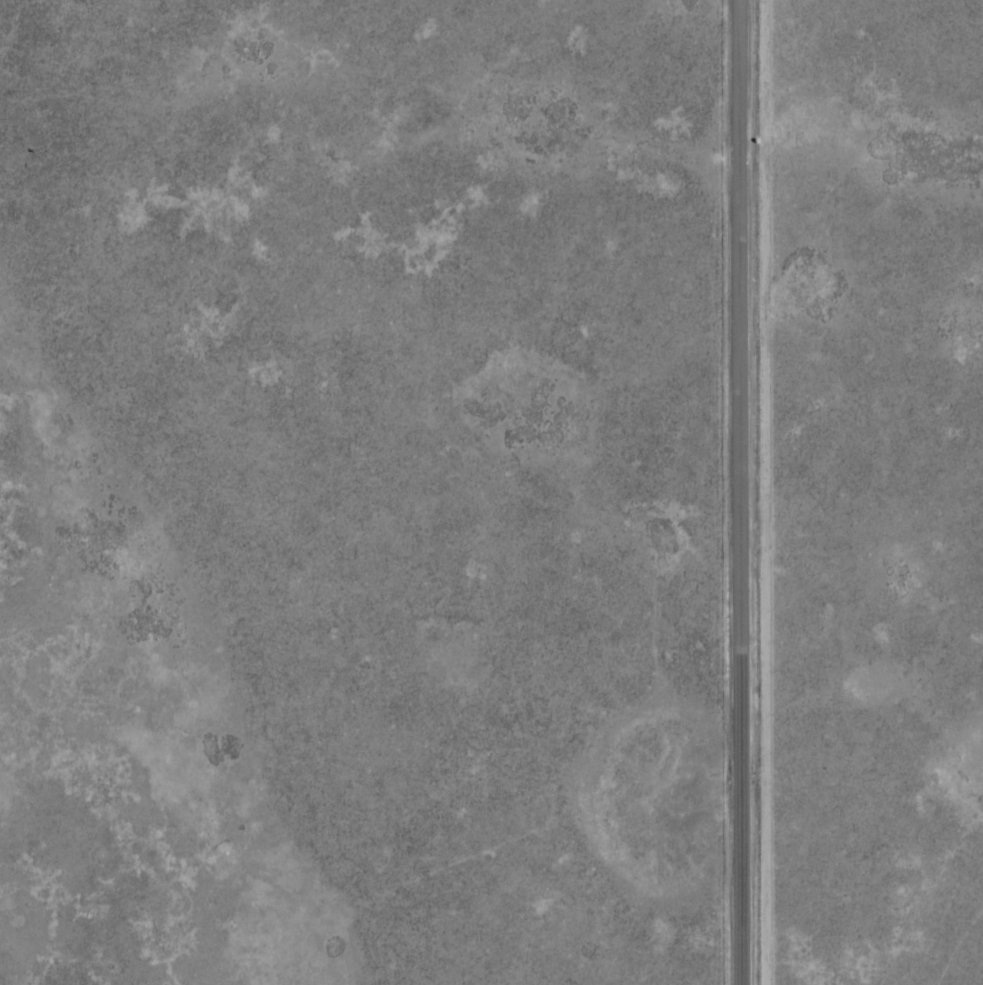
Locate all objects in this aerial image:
road: (744, 492)

